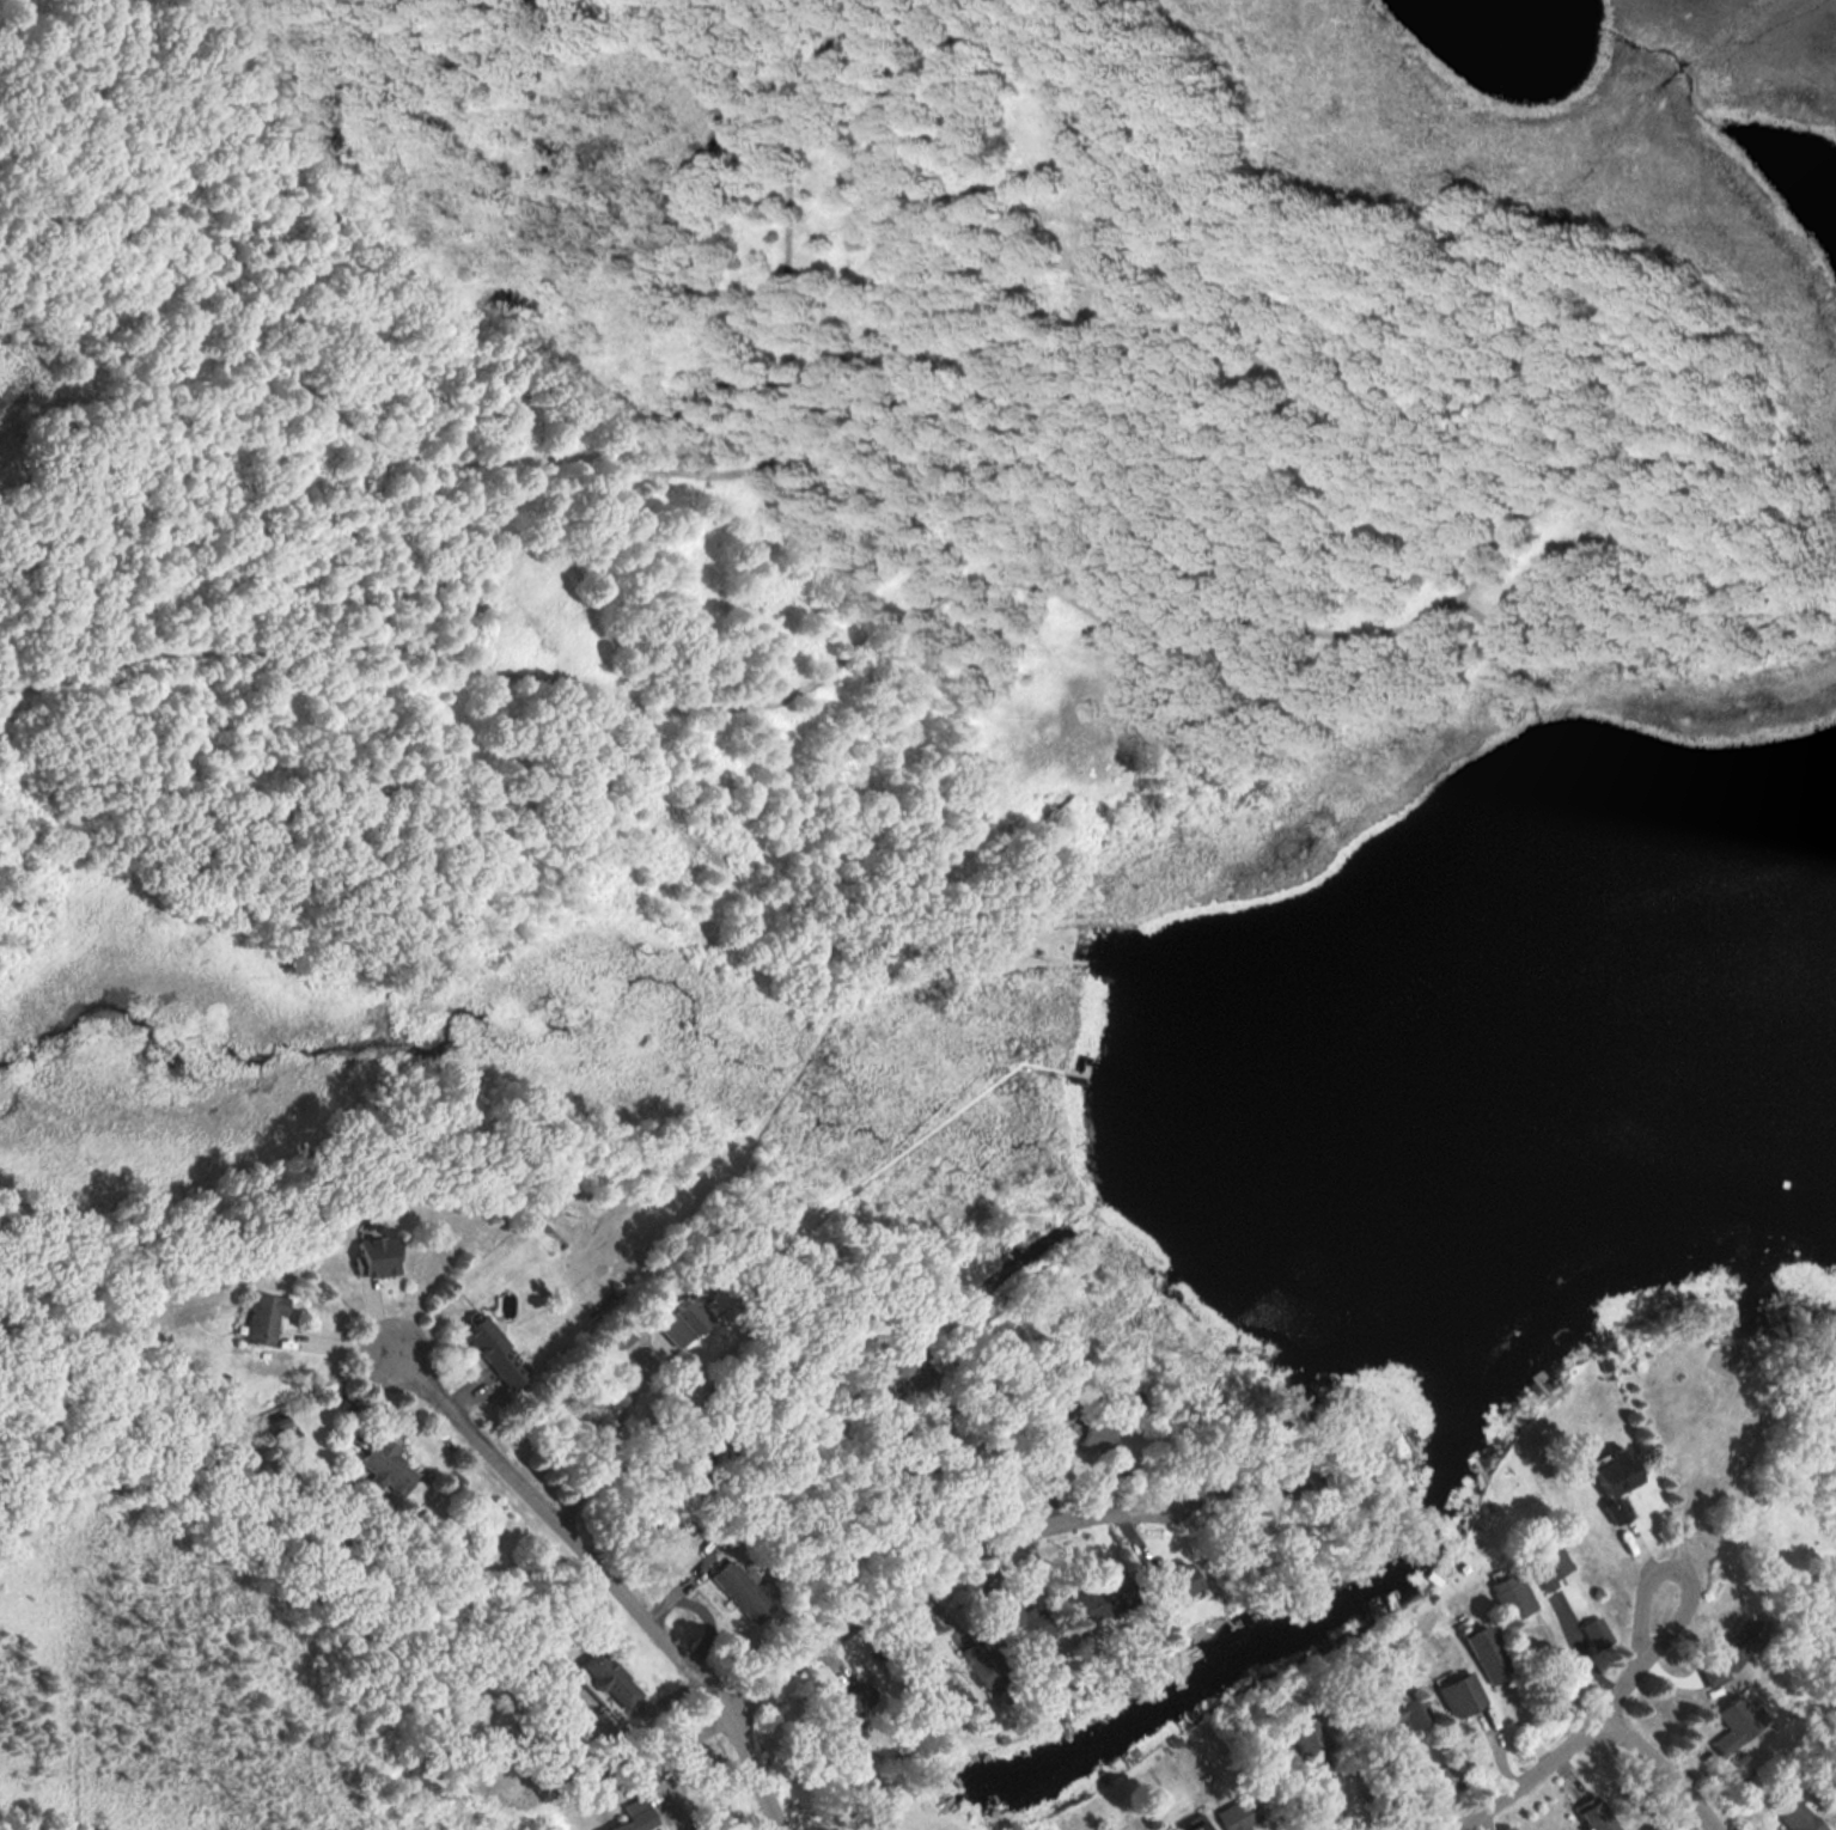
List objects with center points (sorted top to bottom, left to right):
road: (544, 26)
road: (544, 458)
park: (887, 496)
road: (372, 548)
road: (1395, 628)
building: (376, 1255)
building: (262, 1316)
building: (681, 1324)
road: (337, 1337)
building: (495, 1349)
building: (1079, 1432)
road: (931, 1436)
road: (602, 1457)
building: (388, 1465)
building: (1616, 1470)
road: (562, 1535)
building: (1550, 1561)
building: (1171, 1579)
building: (740, 1590)
building: (1514, 1596)
road: (889, 1597)
building: (1105, 1600)
building: (1026, 1624)
building: (1597, 1633)
building: (1732, 1652)
building: (1487, 1653)
building: (983, 1664)
building: (608, 1679)
building: (941, 1689)
building: (1459, 1694)
building: (842, 1708)
building: (1403, 1716)
building: (1737, 1722)
road: (1581, 1737)
building: (1309, 1743)
road: (1661, 1765)
building: (1451, 1773)
road: (752, 1774)
building: (1794, 1811)
building: (1237, 1813)
building: (1594, 1813)
building: (633, 1814)
road: (1482, 1822)
building: (1198, 1825)

